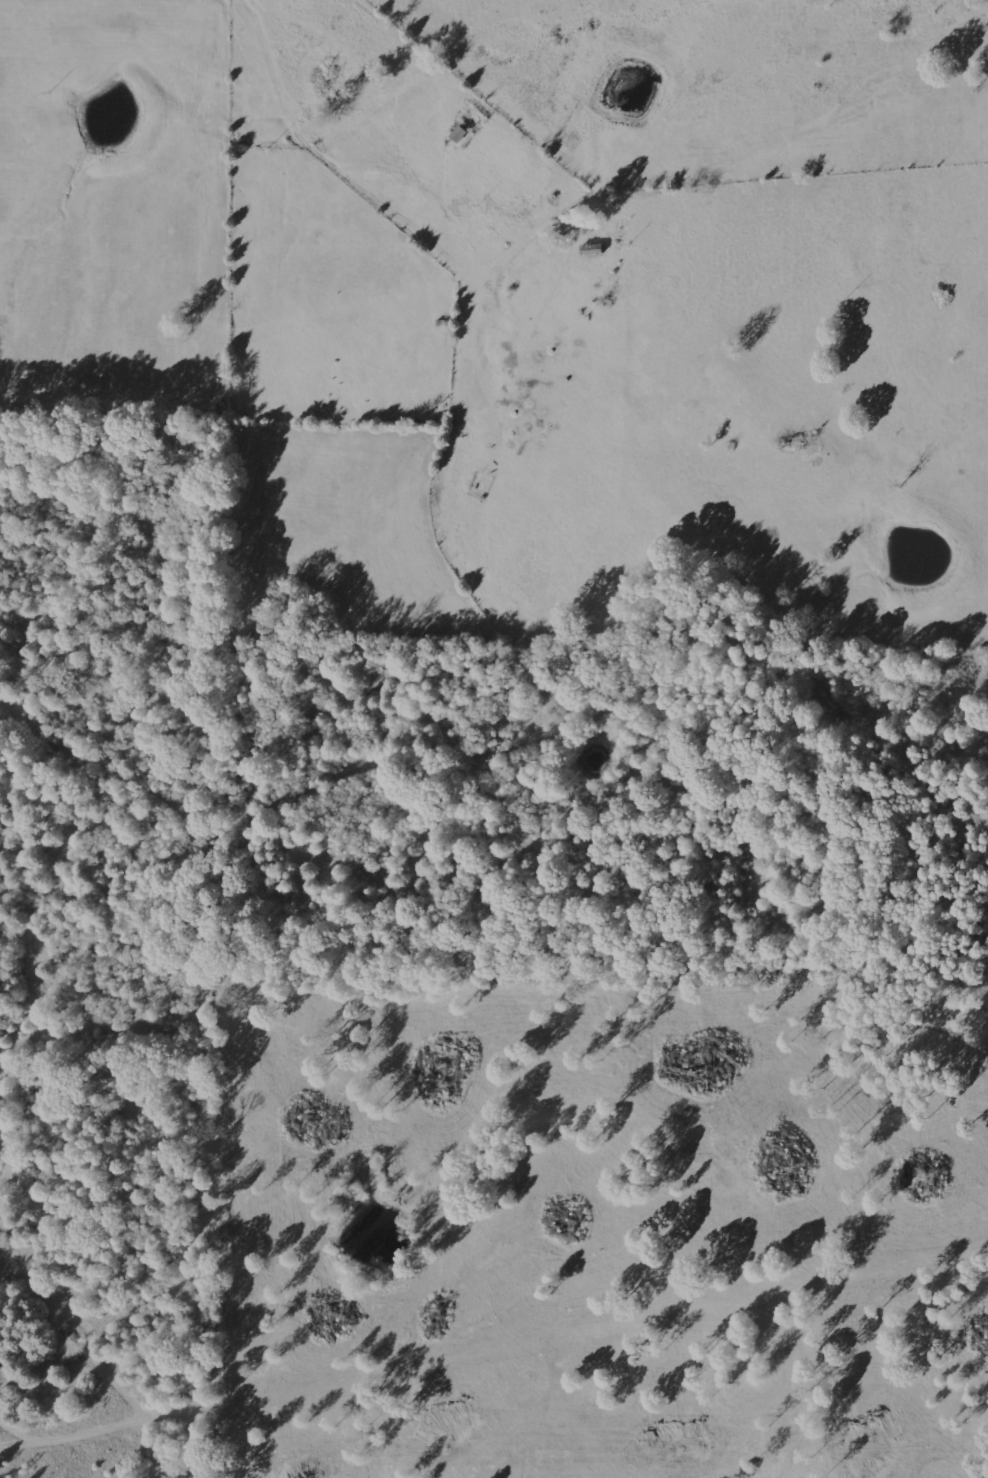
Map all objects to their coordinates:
building: (460, 133)

